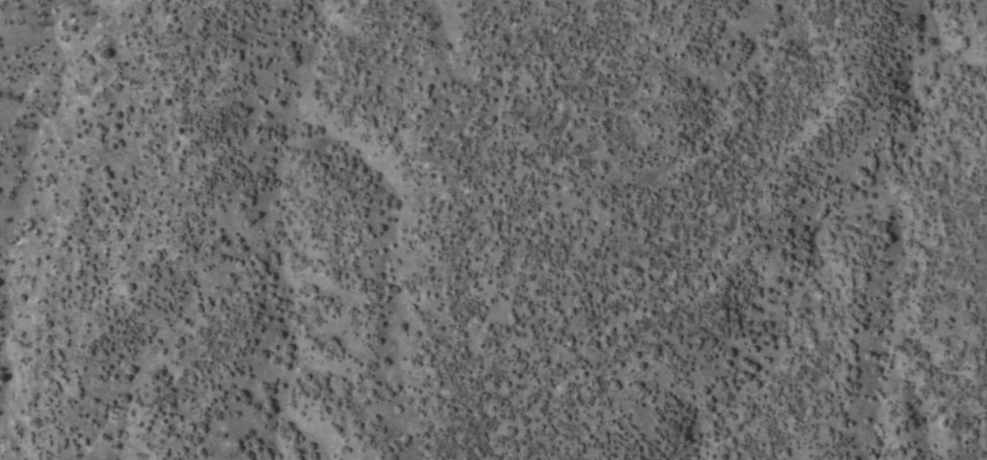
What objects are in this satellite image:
road: (694, 439)

